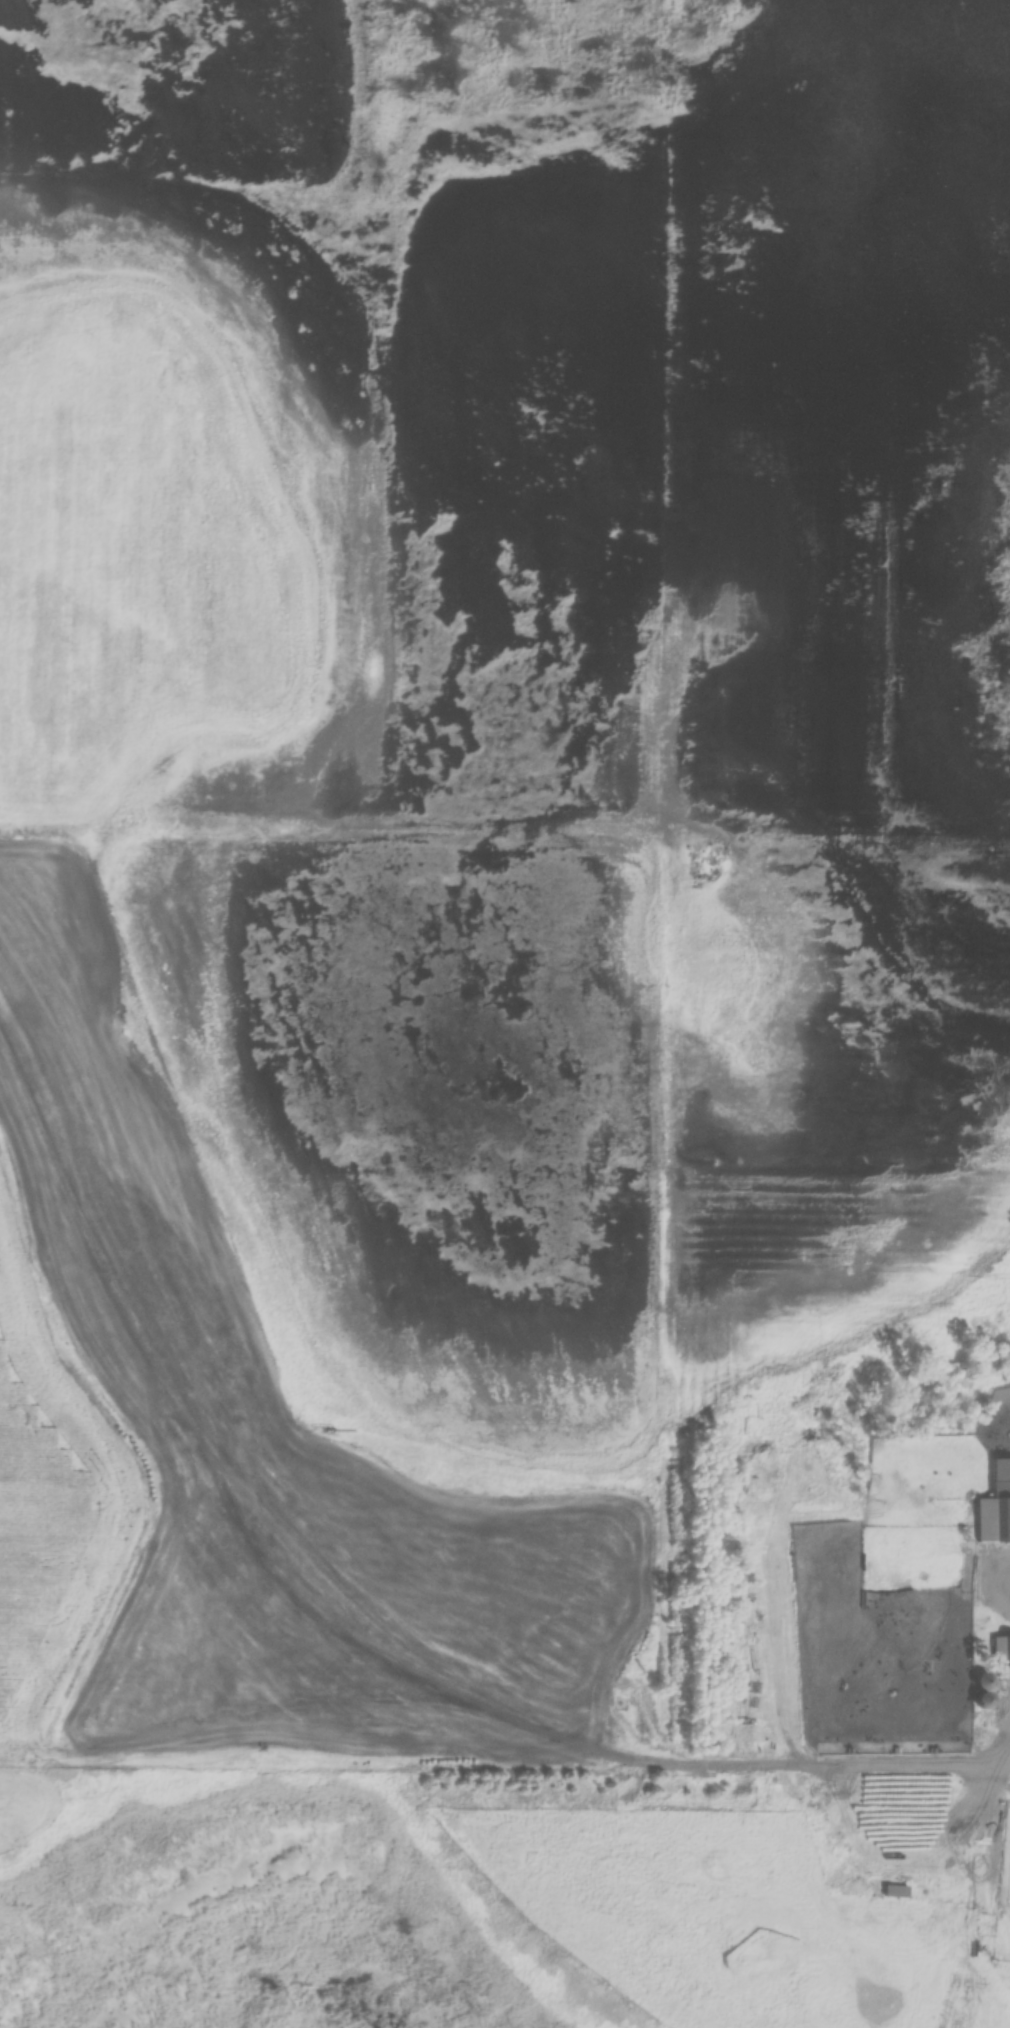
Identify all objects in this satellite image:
building: (996, 1507)
building: (1001, 1651)
building: (983, 1701)
road: (1001, 1778)

